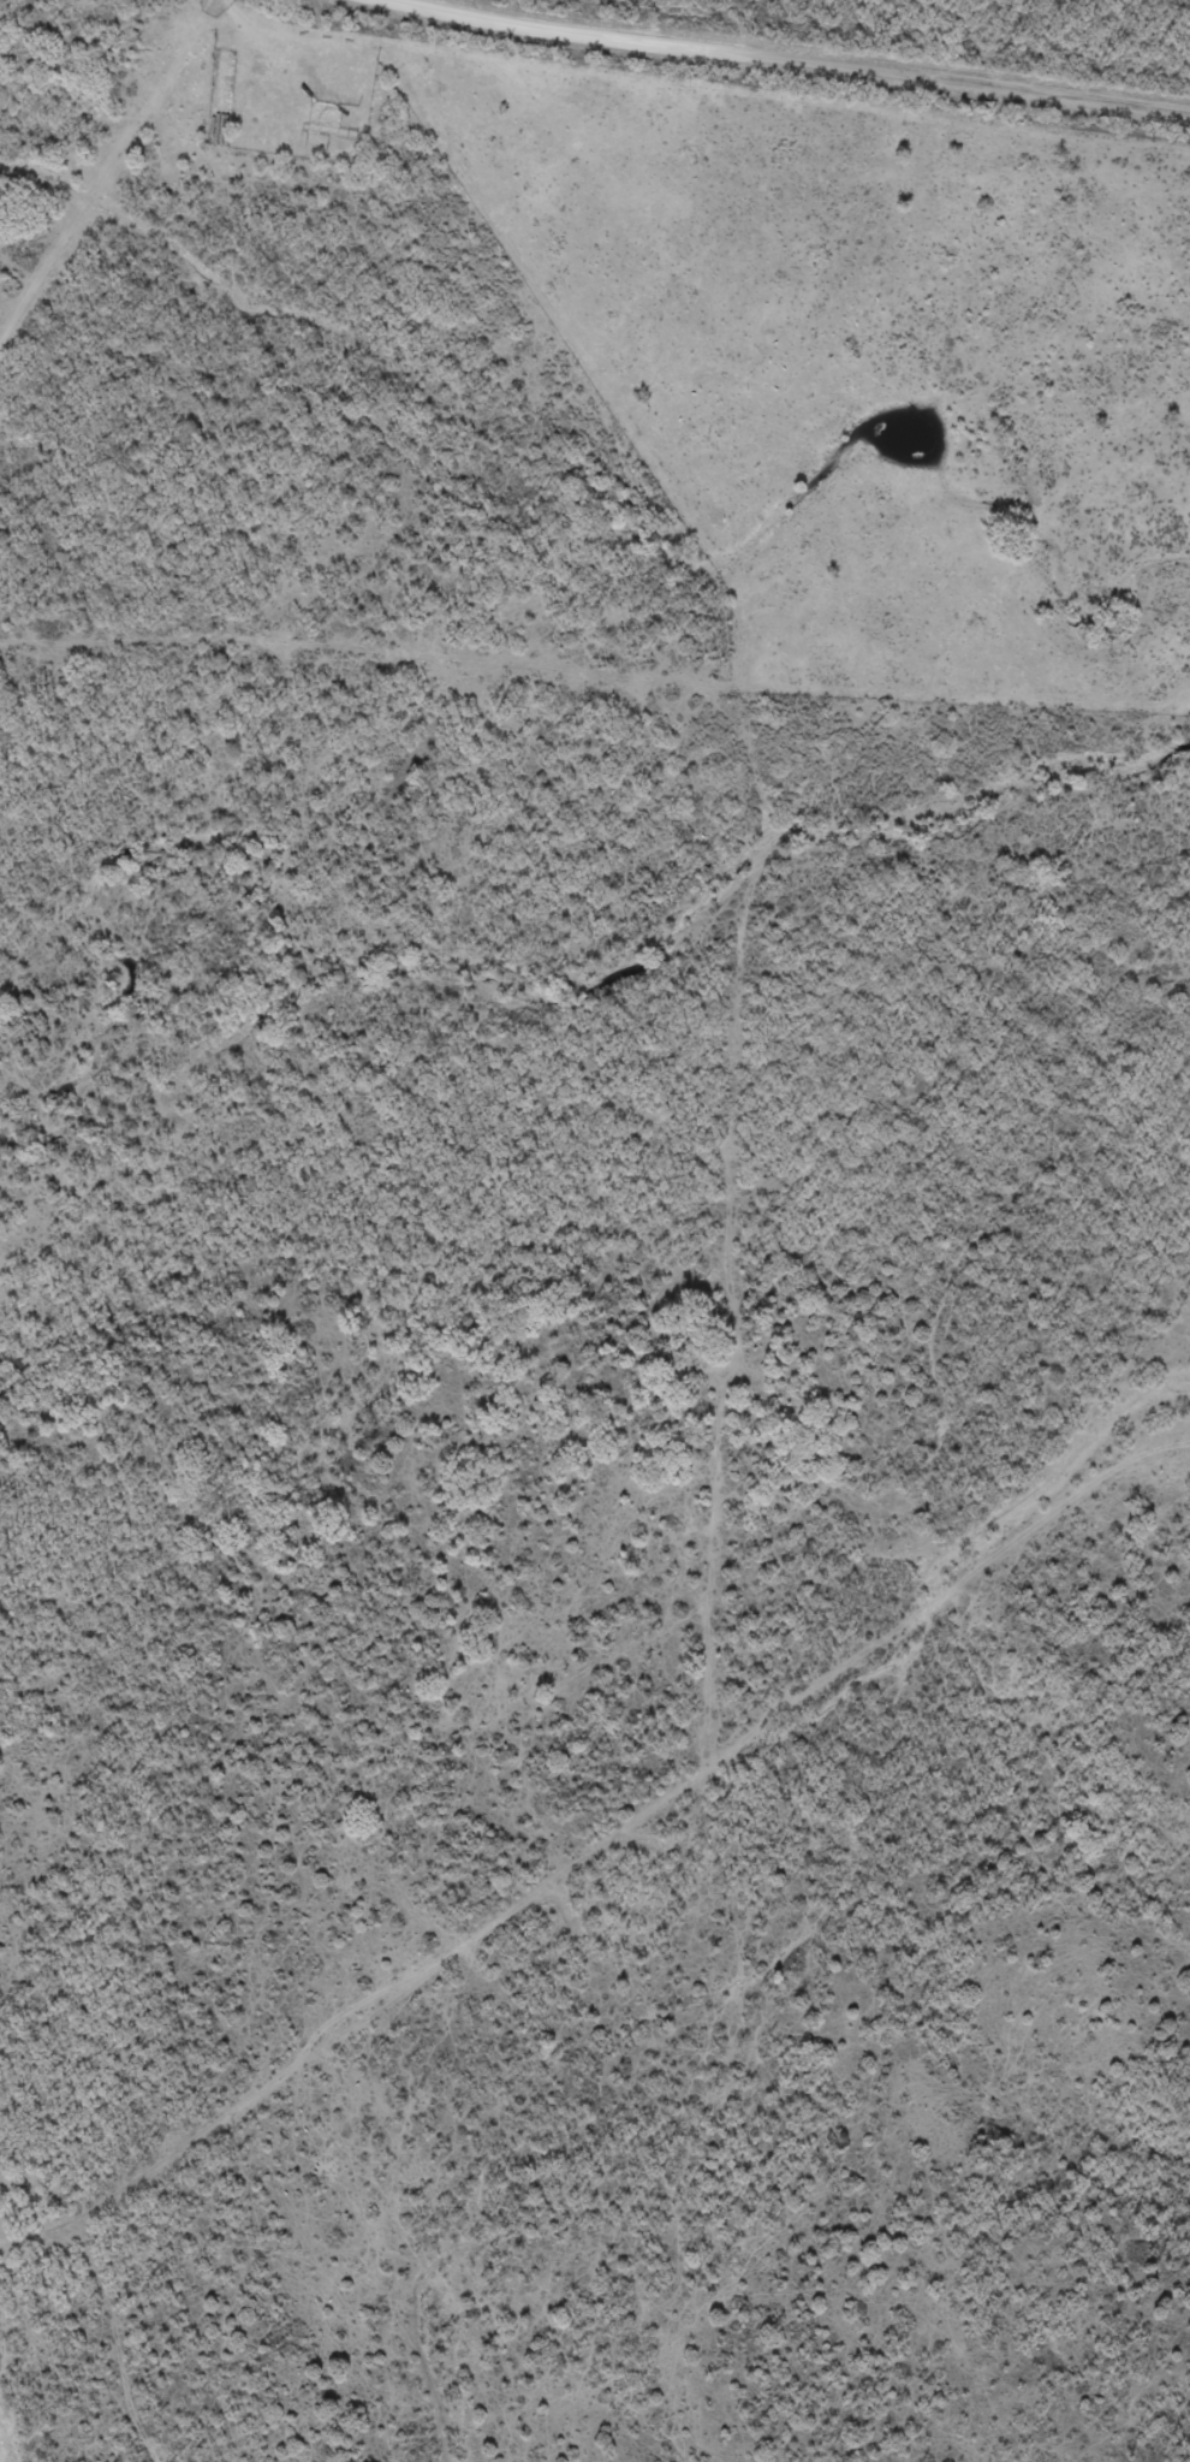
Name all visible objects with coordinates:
road: (790, 72)

